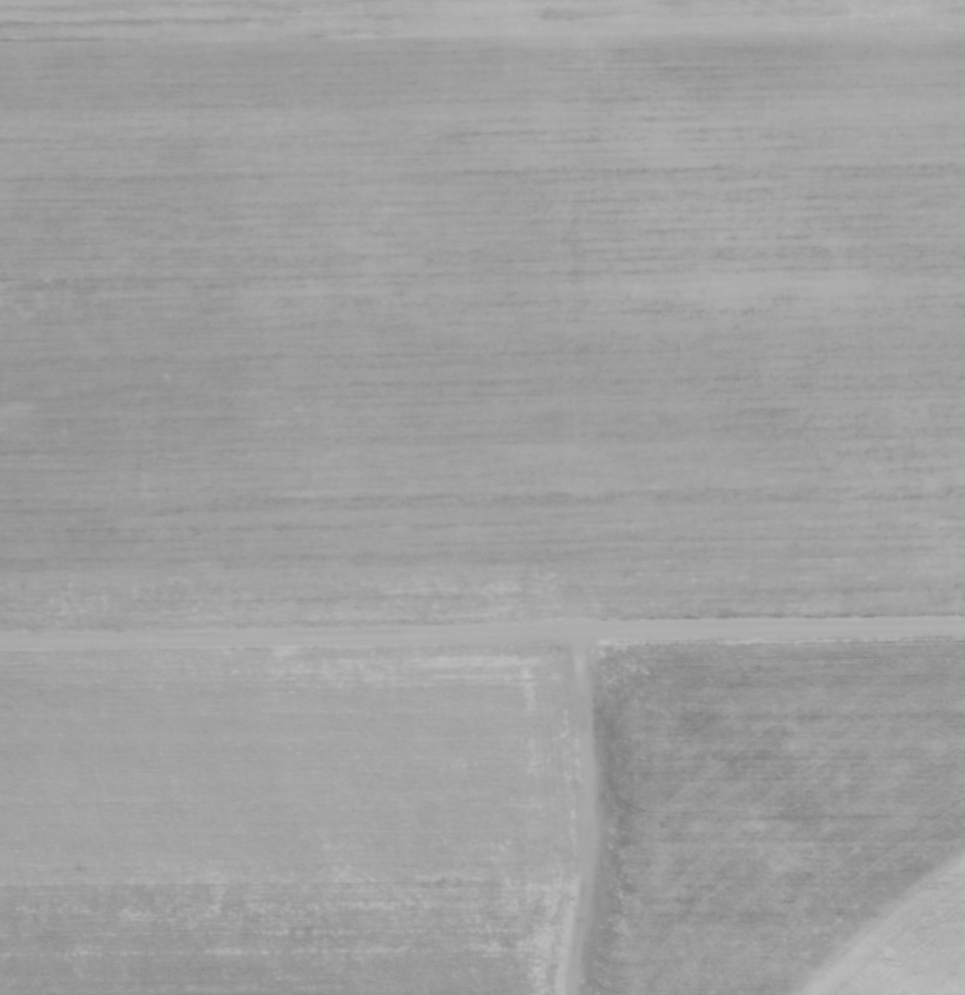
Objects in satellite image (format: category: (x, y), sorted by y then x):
crop: (481, 305)
road: (482, 633)
crop: (485, 822)

